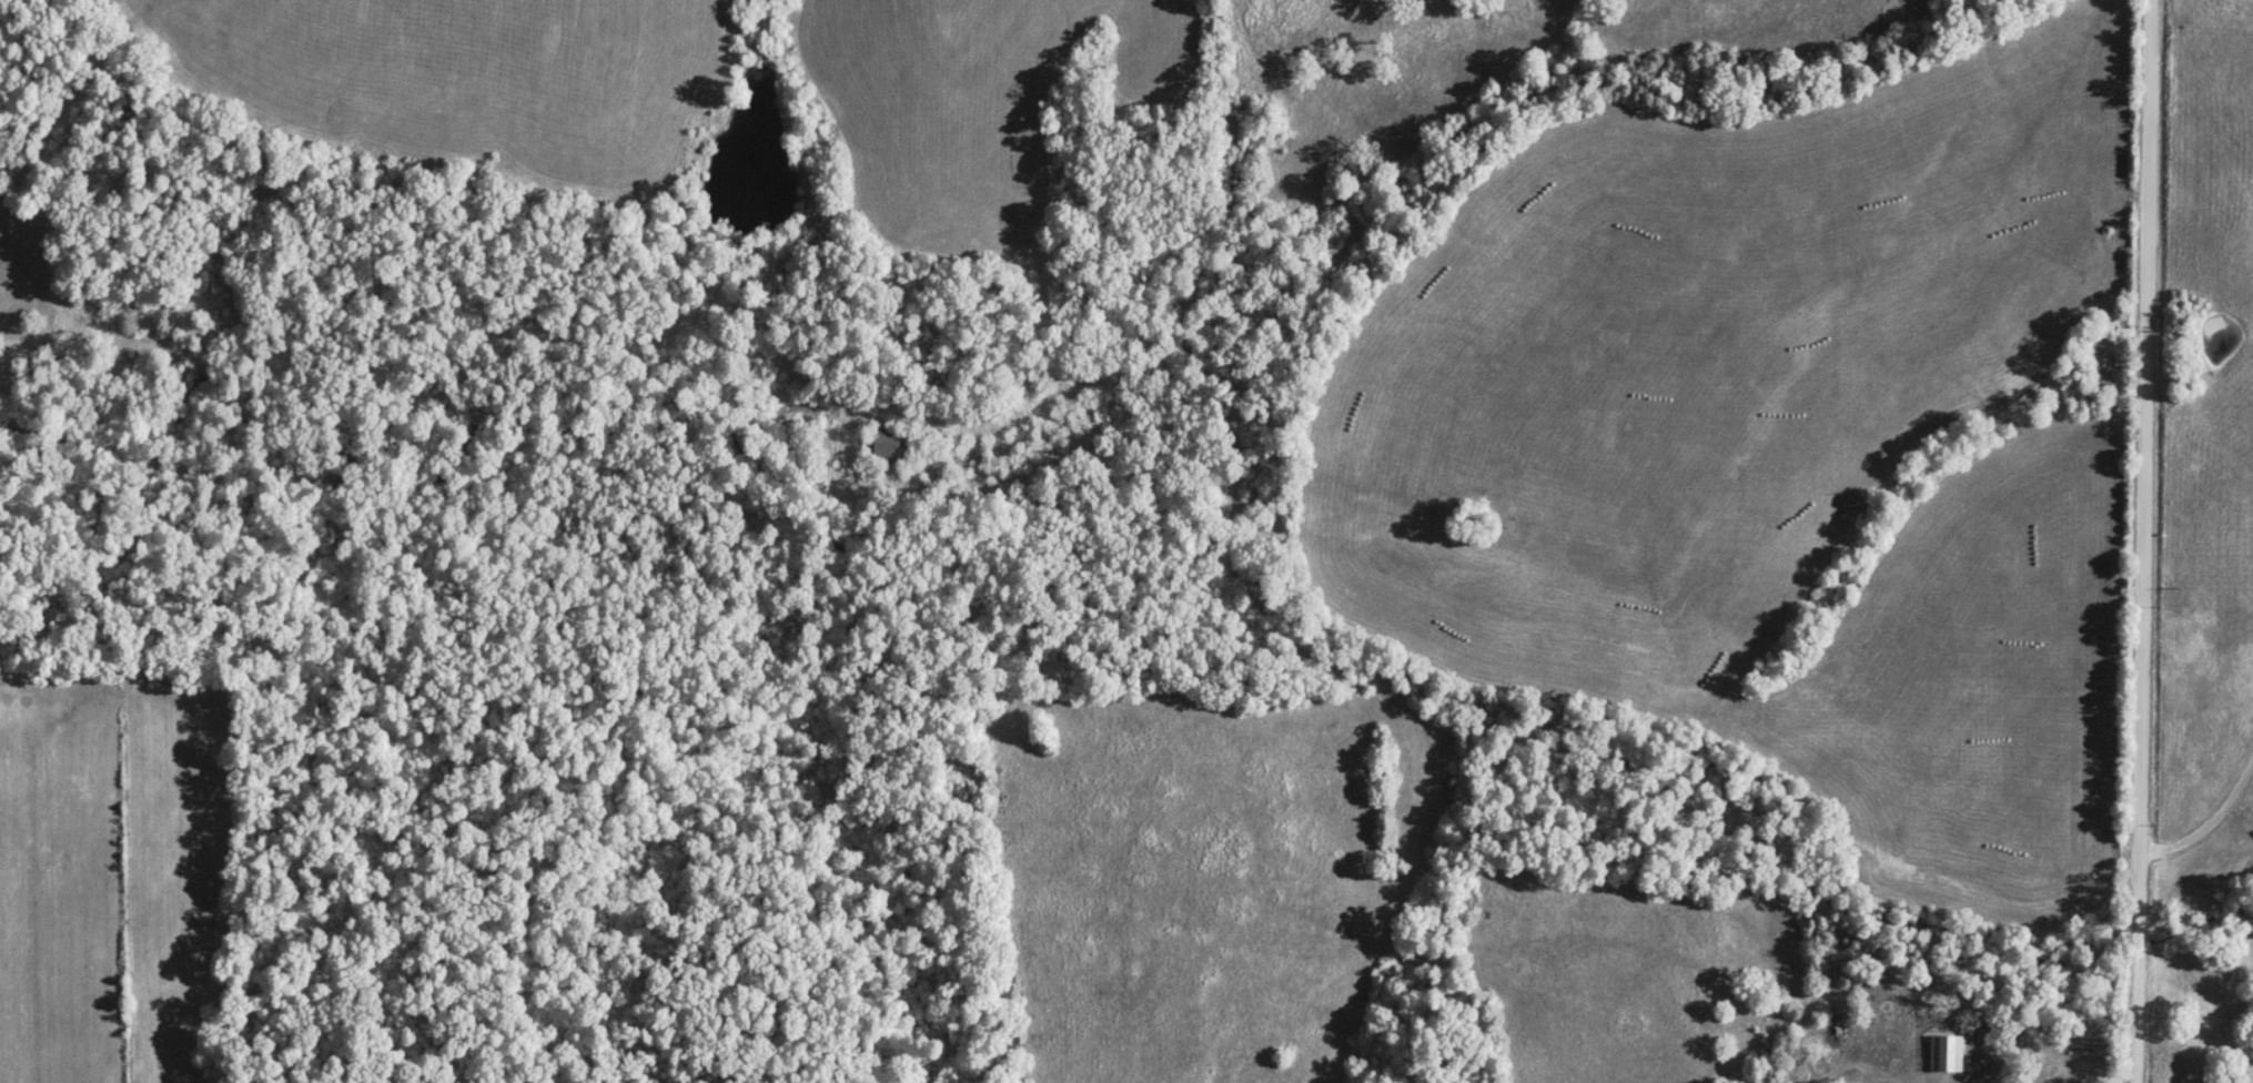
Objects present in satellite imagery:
building: (888, 445)
road: (2145, 541)
road: (2207, 813)
building: (1946, 1052)
road: (1981, 1069)

